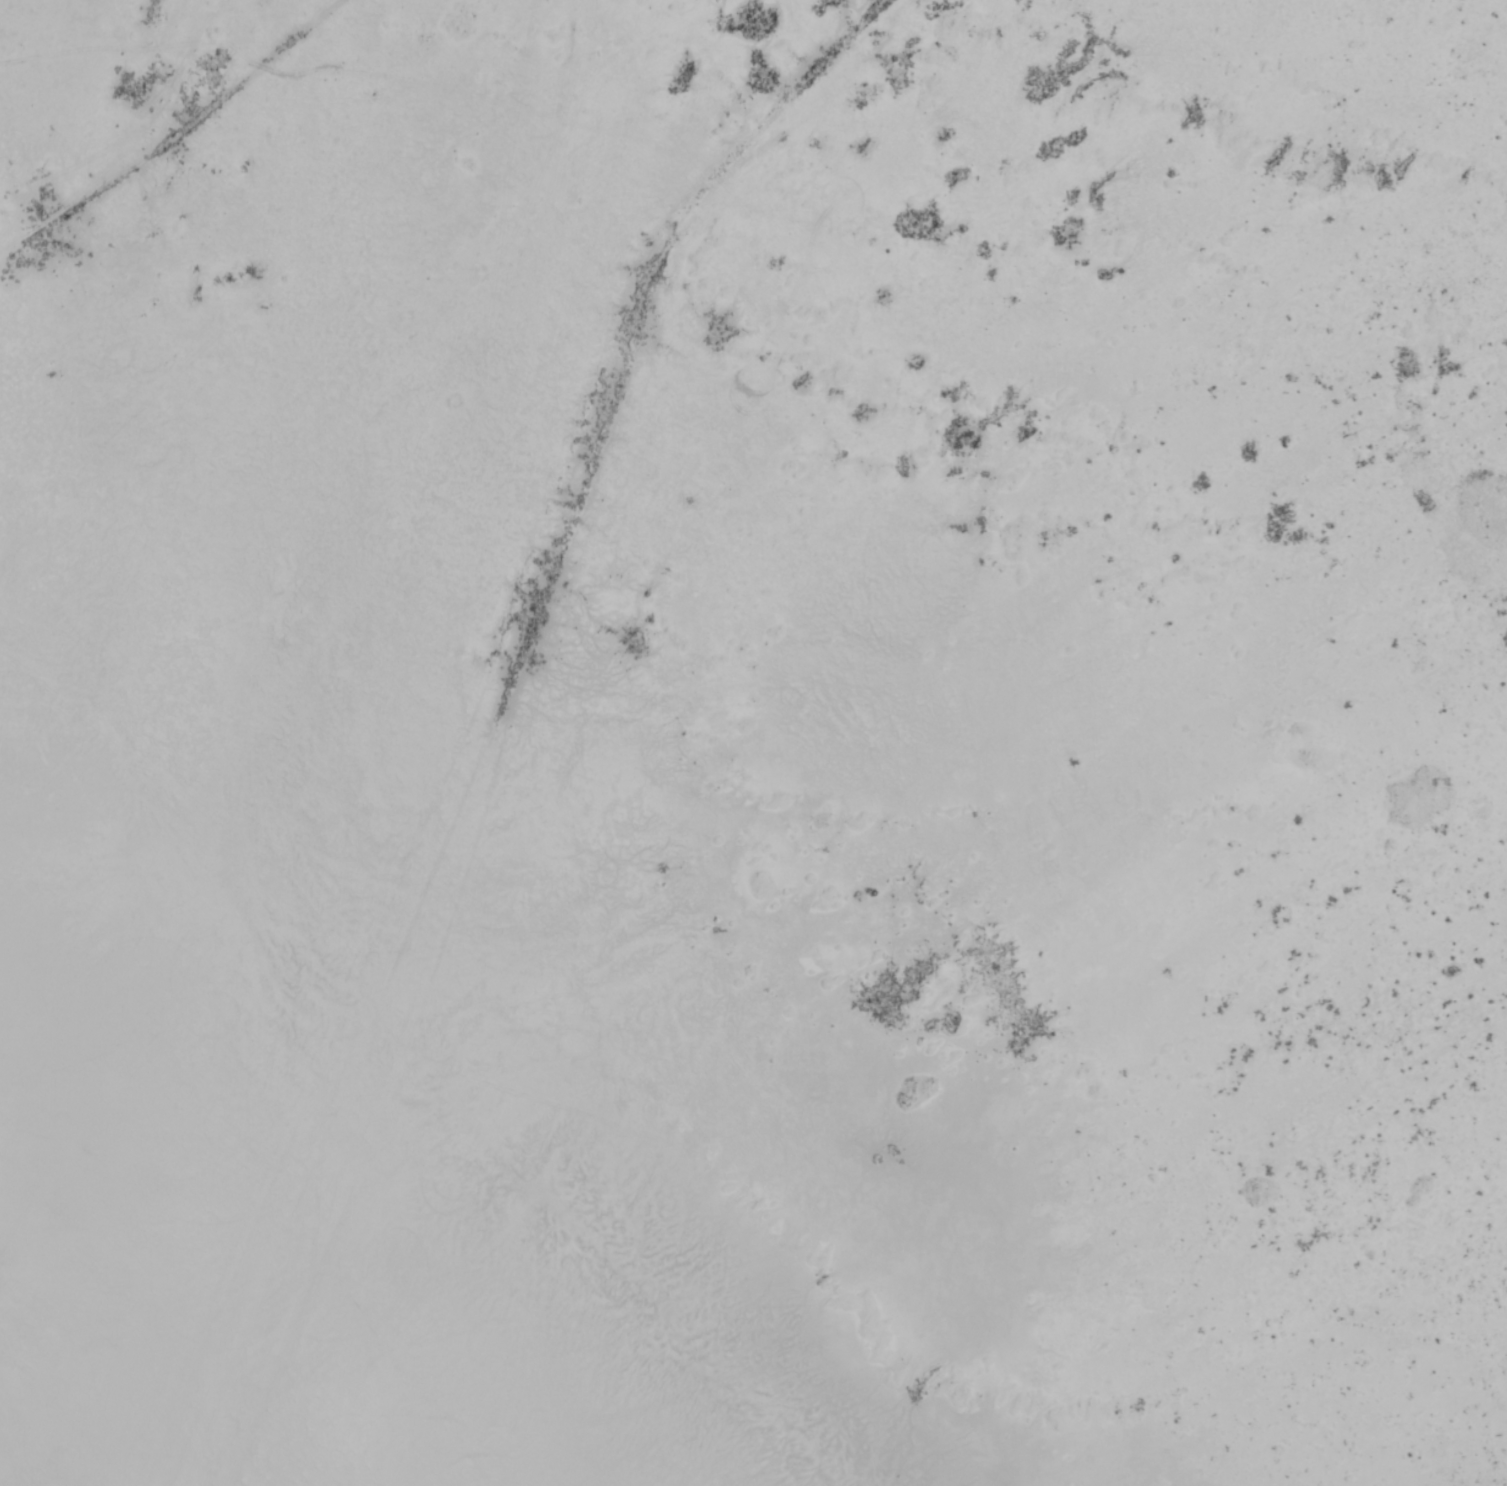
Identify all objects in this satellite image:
road: (170, 122)
road: (436, 708)

